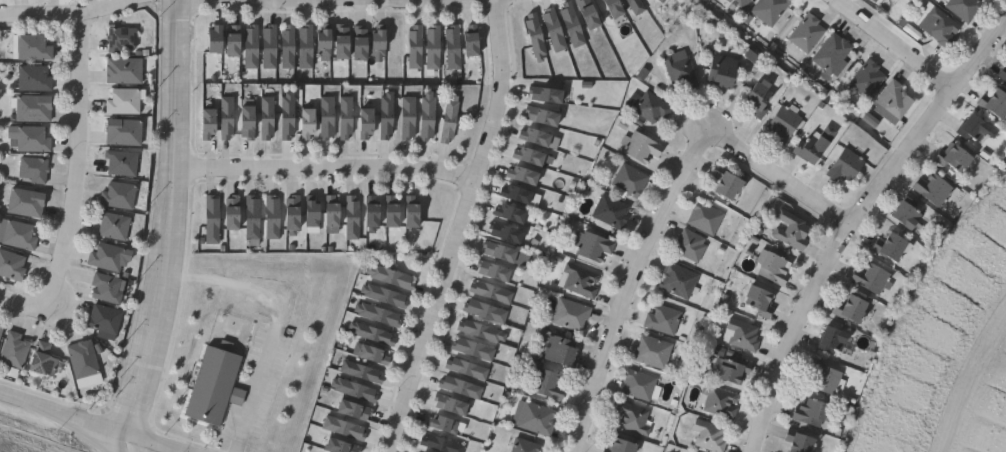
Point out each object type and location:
building: (656, 1)
building: (730, 1)
building: (870, 1)
building: (875, 1)
building: (744, 3)
building: (630, 6)
building: (606, 8)
building: (966, 8)
building: (771, 10)
road: (61, 13)
building: (581, 14)
building: (567, 25)
building: (940, 25)
building: (548, 30)
building: (807, 32)
building: (121, 38)
building: (530, 38)
building: (217, 41)
building: (473, 41)
road: (896, 41)
building: (236, 42)
building: (344, 42)
building: (326, 43)
building: (379, 43)
building: (362, 44)
building: (30, 47)
building: (289, 47)
building: (454, 47)
building: (252, 48)
building: (270, 48)
building: (306, 48)
building: (416, 48)
building: (434, 48)
building: (833, 52)
building: (681, 69)
building: (124, 70)
building: (724, 70)
building: (1003, 73)
building: (34, 78)
building: (868, 78)
building: (538, 93)
building: (896, 99)
building: (760, 100)
building: (124, 101)
building: (995, 103)
building: (650, 106)
building: (31, 108)
building: (535, 114)
building: (387, 116)
building: (288, 117)
building: (346, 117)
building: (428, 117)
building: (227, 118)
building: (267, 118)
building: (327, 118)
building: (409, 119)
building: (449, 121)
building: (249, 123)
building: (369, 124)
building: (785, 124)
building: (210, 125)
building: (310, 125)
building: (976, 128)
building: (125, 132)
building: (528, 135)
building: (29, 138)
building: (641, 147)
building: (812, 149)
building: (522, 154)
building: (956, 158)
road: (74, 163)
building: (122, 163)
building: (846, 165)
road: (322, 168)
building: (34, 169)
building: (516, 173)
road: (776, 175)
building: (631, 180)
building: (730, 184)
building: (934, 189)
building: (509, 193)
building: (119, 195)
building: (26, 203)
building: (394, 210)
building: (414, 210)
building: (312, 211)
building: (333, 211)
building: (233, 212)
building: (373, 212)
building: (611, 213)
building: (294, 214)
building: (513, 214)
building: (909, 215)
building: (353, 216)
building: (252, 217)
building: (272, 217)
road: (852, 217)
building: (706, 218)
building: (213, 219)
building: (114, 225)
road: (455, 227)
road: (167, 229)
building: (793, 230)
building: (498, 231)
building: (19, 235)
building: (593, 245)
building: (691, 245)
building: (894, 247)
building: (502, 252)
building: (109, 257)
building: (12, 265)
building: (775, 269)
building: (496, 271)
building: (392, 276)
building: (872, 278)
building: (580, 280)
building: (680, 281)
road: (231, 283)
road: (628, 285)
building: (106, 288)
building: (485, 291)
building: (385, 295)
building: (759, 301)
road: (19, 303)
building: (854, 309)
building: (480, 310)
building: (379, 313)
building: (572, 315)
building: (105, 319)
building: (665, 320)
building: (1, 330)
building: (475, 331)
building: (373, 333)
building: (742, 335)
building: (837, 343)
building: (475, 349)
building: (560, 349)
building: (14, 350)
building: (654, 351)
building: (376, 353)
building: (83, 359)
building: (43, 360)
building: (468, 369)
building: (733, 370)
building: (362, 371)
building: (826, 379)
road: (966, 379)
building: (547, 383)
building: (216, 385)
building: (641, 385)
building: (461, 387)
road: (255, 389)
building: (355, 389)
road: (24, 400)
building: (719, 402)
building: (452, 405)
building: (356, 409)
building: (813, 413)
building: (633, 417)
building: (537, 418)
building: (444, 425)
building: (345, 428)
road: (116, 429)
road: (77, 430)
building: (710, 436)
building: (801, 441)
building: (441, 444)
road: (18, 445)
building: (526, 446)
building: (342, 447)
building: (624, 447)

